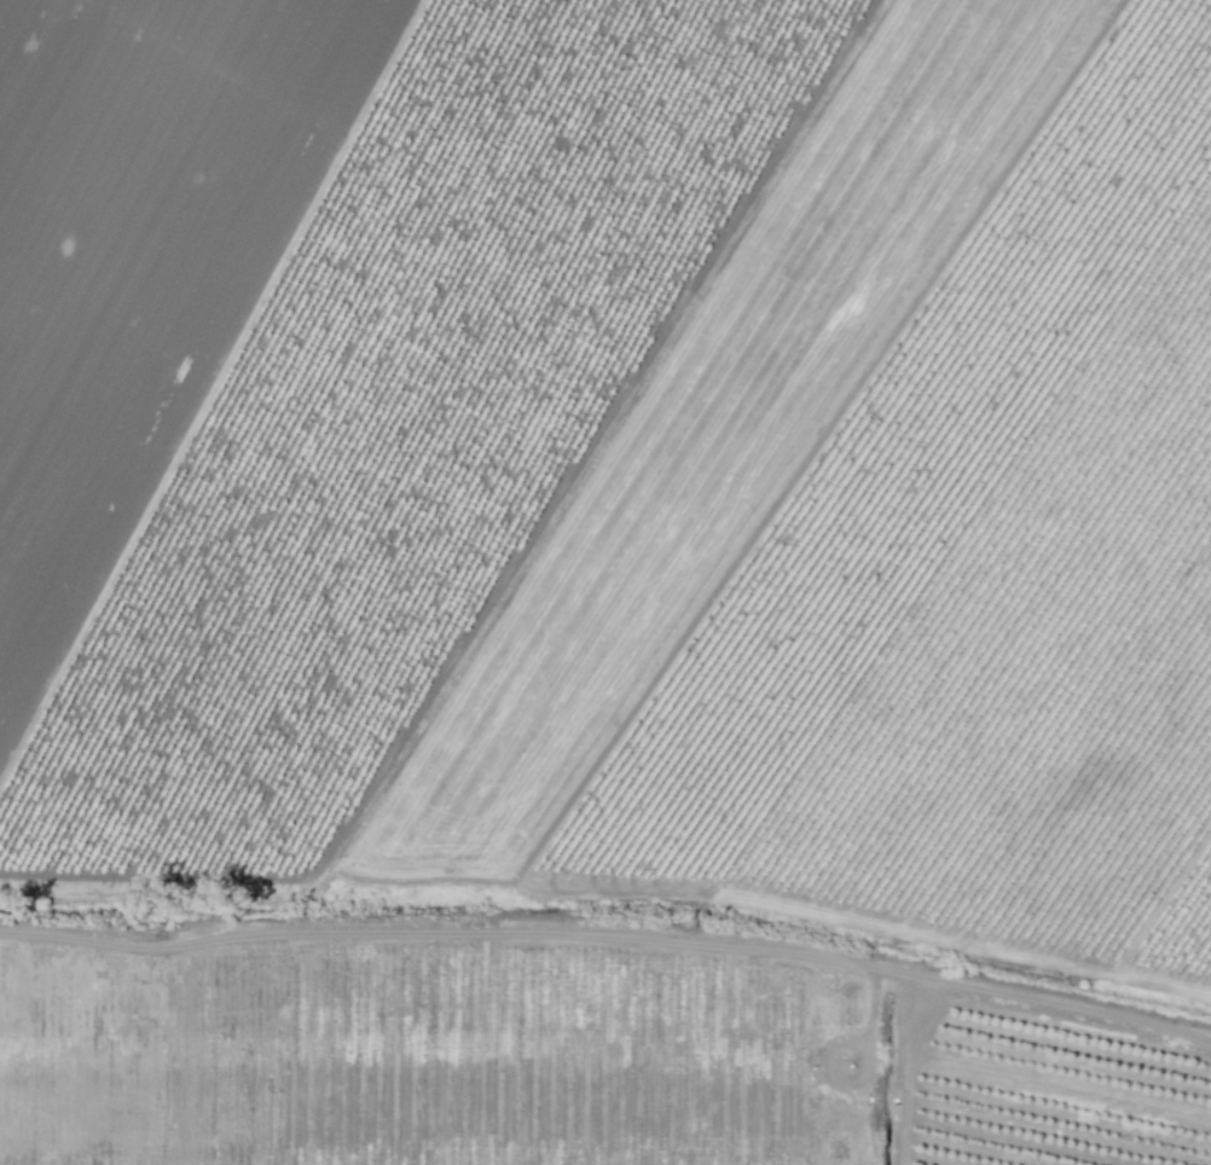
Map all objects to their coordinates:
power tower: (690, 932)
power tower: (158, 935)
road: (609, 951)

